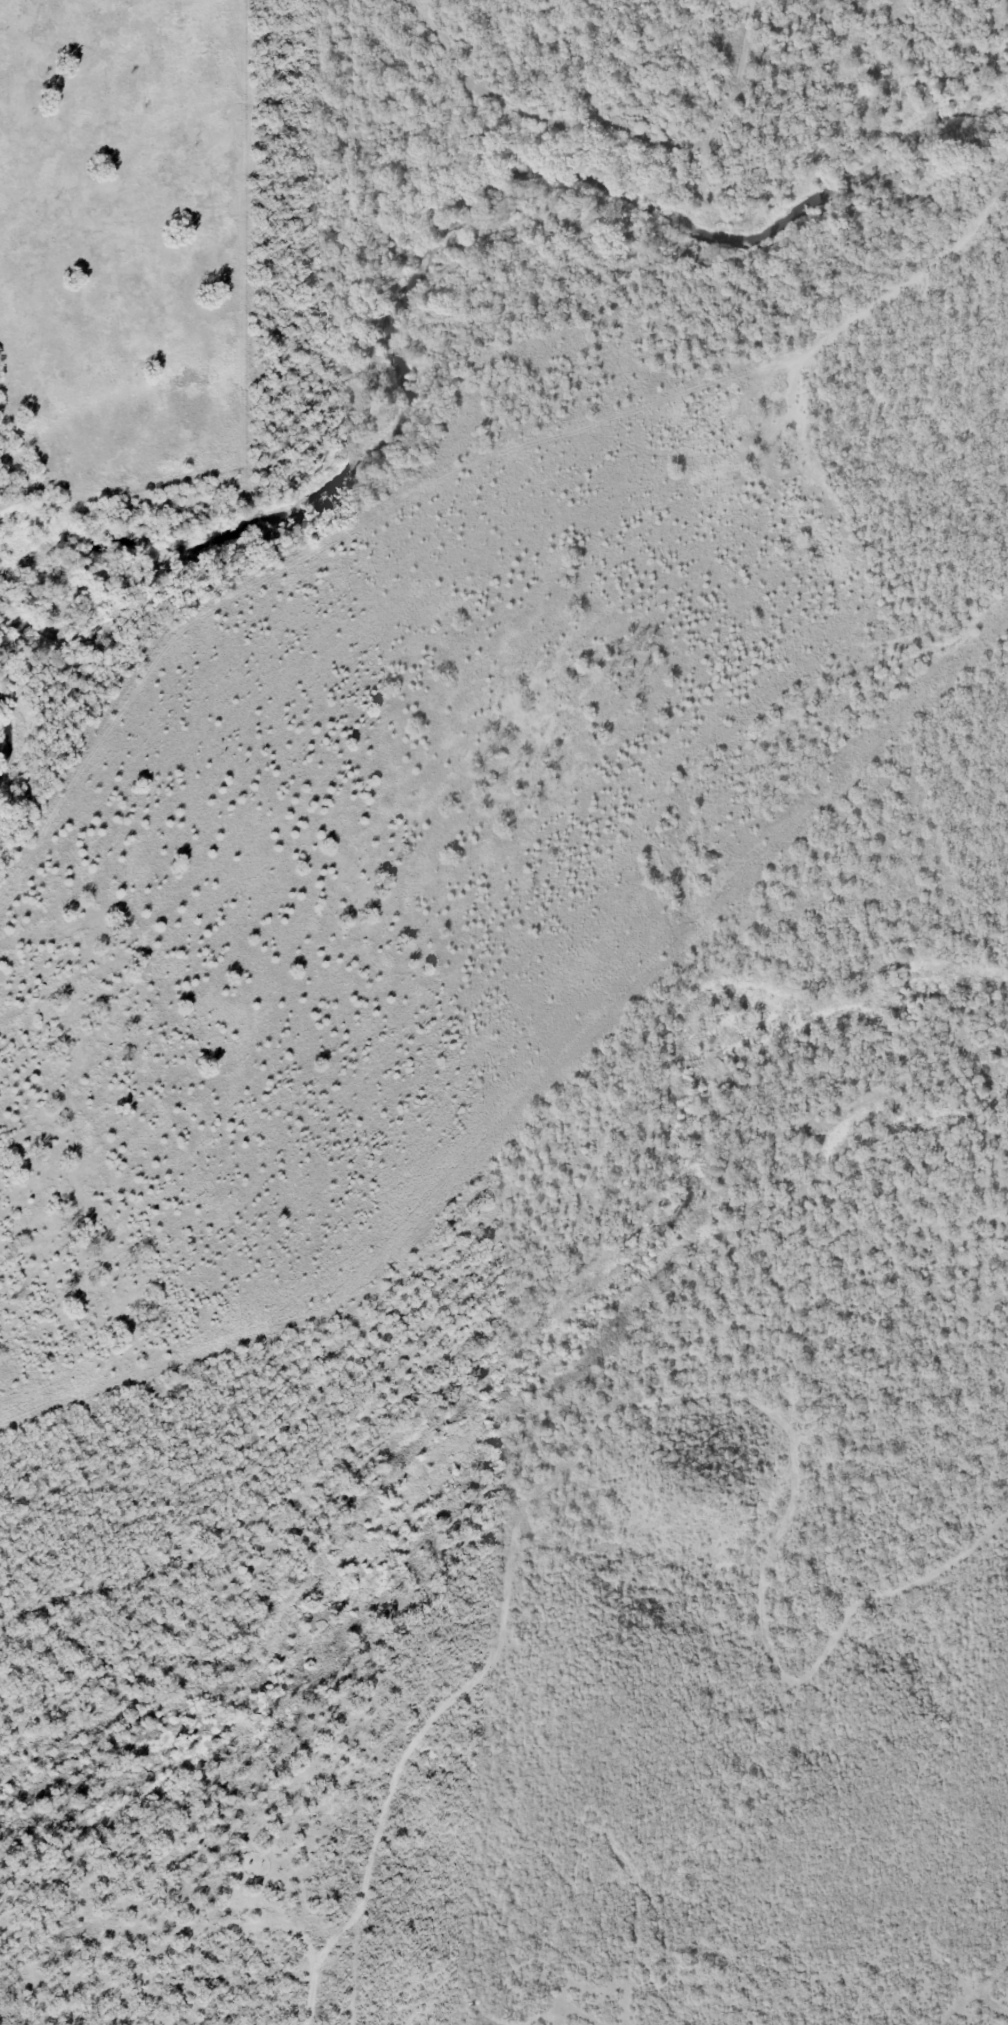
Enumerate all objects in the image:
river: (429, 254)
river: (4, 724)

